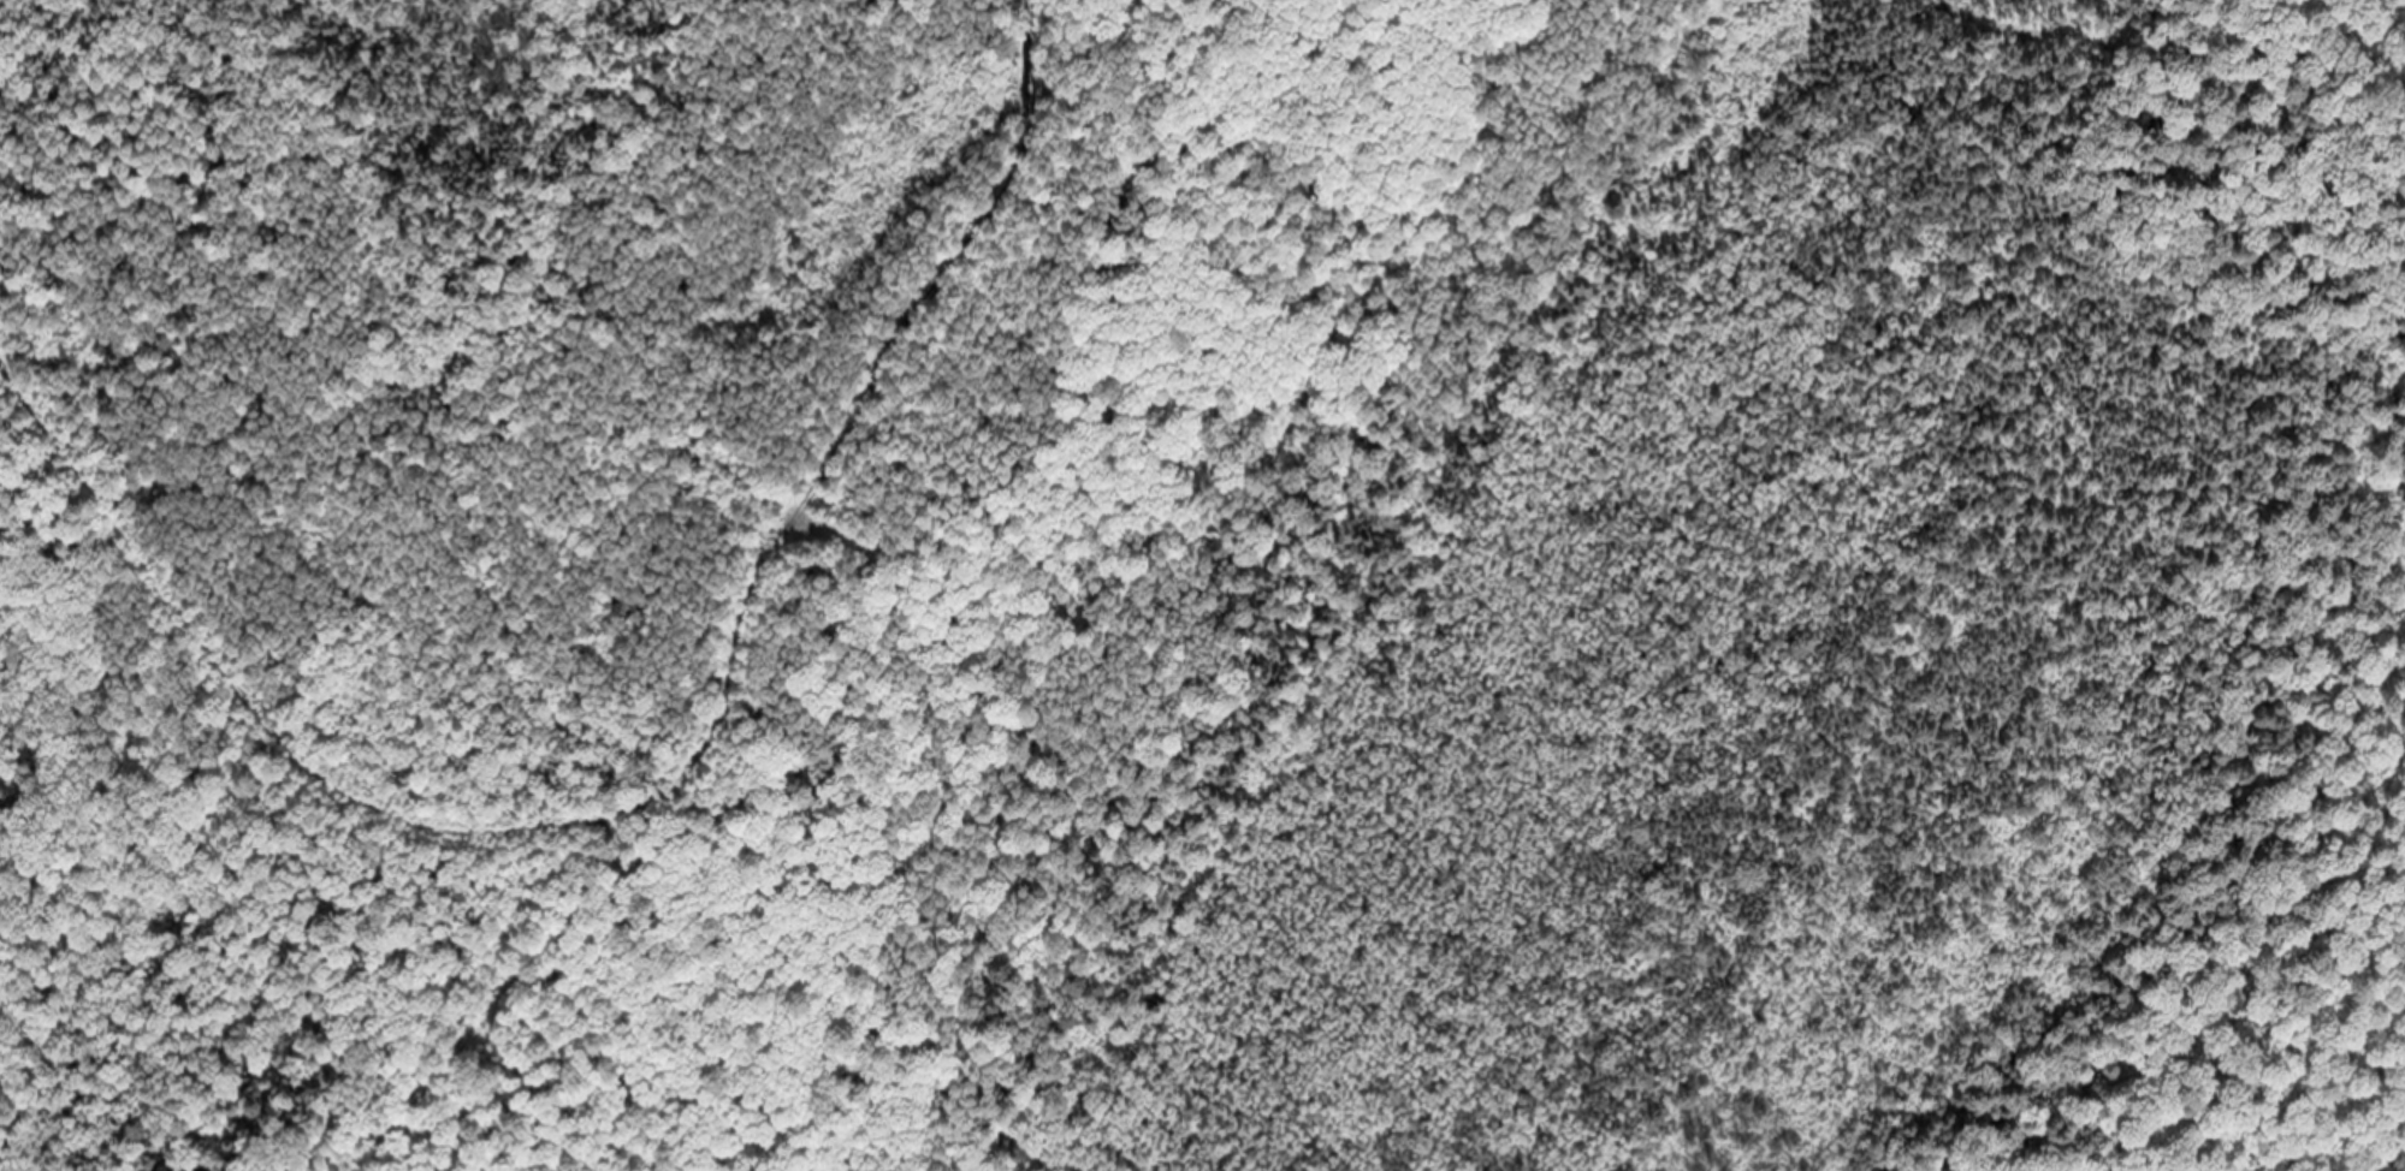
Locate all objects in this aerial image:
road: (675, 789)

